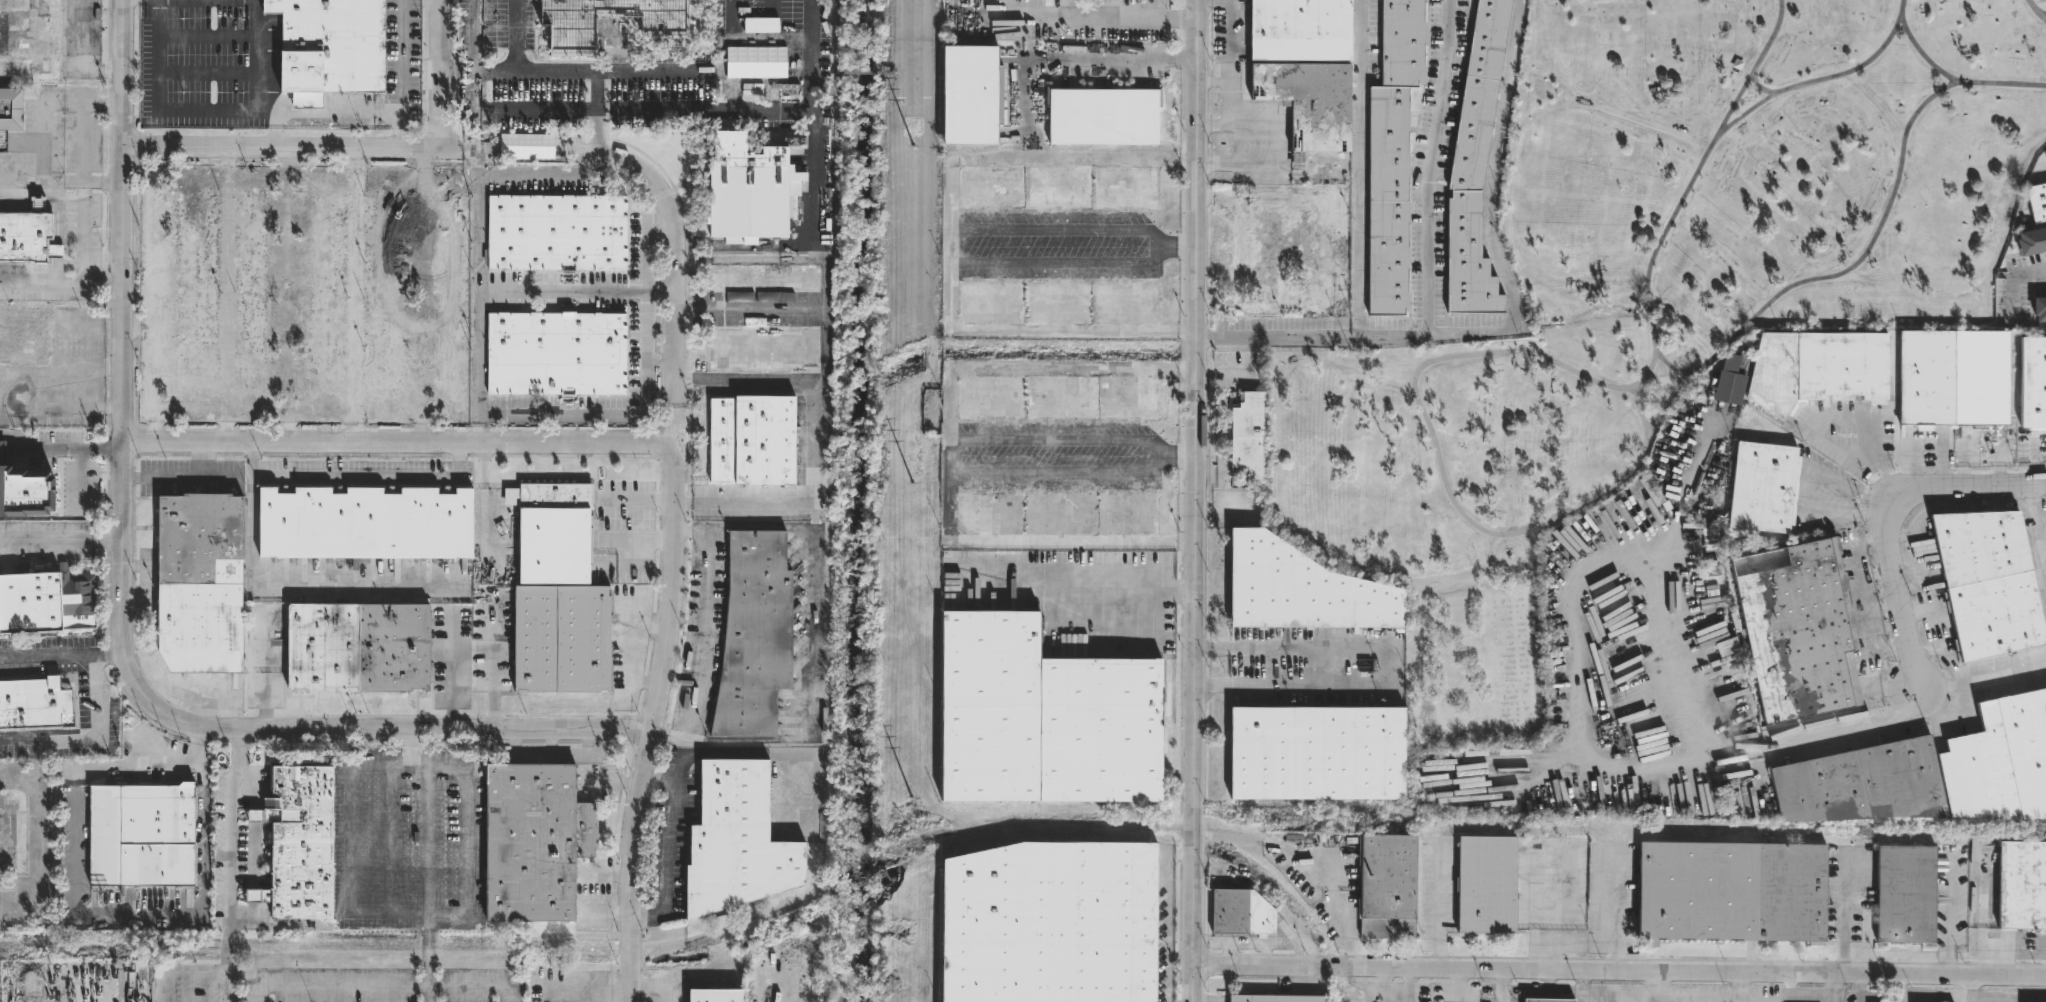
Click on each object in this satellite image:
road: (451, 8)
road: (1156, 8)
road: (2037, 10)
road: (2044, 16)
road: (1094, 17)
road: (1229, 24)
building: (1298, 30)
building: (571, 33)
road: (78, 35)
building: (22, 39)
building: (331, 48)
road: (1881, 48)
road: (773, 55)
road: (475, 56)
road: (1920, 56)
road: (402, 62)
road: (578, 62)
road: (895, 62)
road: (1546, 64)
parking lot: (197, 65)
road: (639, 70)
road: (819, 72)
road: (863, 72)
road: (441, 74)
road: (1851, 83)
road: (1959, 85)
road: (1756, 87)
road: (733, 90)
building: (970, 96)
road: (605, 99)
road: (1025, 101)
building: (1303, 104)
road: (171, 109)
road: (1602, 110)
road: (644, 111)
road: (913, 111)
building: (9, 112)
road: (340, 115)
road: (1744, 115)
building: (1103, 116)
road: (812, 123)
road: (1213, 124)
road: (1277, 125)
road: (81, 142)
power tower: (912, 148)
road: (294, 150)
road: (605, 150)
building: (1392, 155)
road: (478, 156)
road: (422, 157)
road: (226, 163)
road: (1429, 167)
road: (1358, 168)
building: (1471, 168)
road: (422, 169)
parking lot: (911, 172)
road: (395, 174)
road: (257, 176)
road: (322, 176)
building: (1057, 188)
building: (748, 189)
road: (1506, 194)
road: (663, 195)
road: (1309, 195)
road: (1213, 196)
building: (2037, 202)
road: (669, 205)
road: (478, 211)
road: (1674, 212)
road: (80, 231)
building: (557, 232)
building: (26, 235)
building: (2031, 242)
road: (686, 251)
road: (741, 259)
road: (952, 260)
building: (1292, 260)
road: (1241, 265)
road: (478, 266)
road: (153, 273)
road: (646, 273)
building: (763, 277)
road: (2033, 285)
road: (664, 287)
road: (566, 291)
park: (1650, 291)
parking lot: (555, 292)
building: (327, 293)
building: (197, 294)
building: (251, 294)
road: (225, 295)
road: (356, 295)
building: (384, 295)
building: (456, 295)
road: (286, 296)
road: (420, 299)
building: (1057, 301)
building: (471, 304)
road: (782, 307)
building: (2038, 310)
road: (1513, 323)
road: (908, 324)
road: (138, 329)
road: (1040, 332)
building: (26, 340)
road: (478, 348)
building: (764, 348)
road: (1719, 352)
building: (556, 353)
road: (1525, 355)
road: (650, 360)
road: (665, 360)
road: (1670, 366)
building: (1813, 369)
building: (1950, 378)
road: (1275, 380)
building: (2032, 384)
building: (1058, 397)
road: (188, 414)
road: (255, 414)
road: (321, 414)
road: (449, 416)
road: (394, 417)
road: (224, 428)
road: (668, 428)
road: (491, 430)
road: (419, 432)
road: (479, 433)
road: (814, 433)
building: (1245, 434)
road: (661, 438)
building: (752, 439)
road: (1058, 439)
road: (388, 442)
road: (59, 448)
road: (951, 454)
road: (1868, 460)
road: (1076, 470)
road: (355, 475)
road: (186, 484)
power tower: (911, 484)
building: (1761, 486)
road: (1803, 488)
building: (24, 490)
road: (639, 496)
road: (485, 497)
road: (1194, 500)
road: (684, 504)
road: (1890, 509)
road: (1938, 509)
road: (2005, 509)
road: (2039, 509)
building: (1056, 512)
road: (1897, 522)
building: (362, 523)
building: (551, 532)
road: (60, 538)
road: (639, 540)
road: (2039, 540)
road: (1918, 551)
road: (305, 580)
road: (683, 581)
building: (1985, 581)
building: (195, 582)
road: (1069, 589)
building: (1300, 589)
road: (1924, 589)
road: (1183, 590)
building: (42, 600)
road: (121, 610)
road: (1147, 618)
building: (1796, 628)
road: (704, 632)
road: (1933, 632)
building: (753, 635)
building: (559, 639)
road: (812, 645)
building: (354, 647)
road: (1211, 648)
road: (109, 649)
road: (48, 653)
road: (472, 653)
road: (1951, 663)
road: (1390, 666)
road: (1983, 671)
road: (1211, 685)
road: (1581, 698)
building: (35, 703)
road: (655, 717)
building: (1042, 718)
road: (91, 739)
road: (1466, 739)
road: (410, 747)
road: (685, 753)
building: (1316, 753)
building: (1929, 773)
road: (661, 778)
power tower: (909, 798)
building: (1422, 801)
railway: (1620, 828)
building: (137, 837)
road: (391, 838)
building: (534, 841)
building: (734, 841)
building: (300, 843)
road: (1317, 852)
road: (1183, 856)
road: (229, 864)
building: (1483, 884)
building: (2021, 885)
building: (1387, 886)
building: (1728, 891)
building: (1903, 894)
road: (74, 896)
road: (466, 897)
road: (1614, 904)
road: (1439, 906)
road: (1845, 907)
building: (1241, 914)
road: (1958, 915)
building: (1049, 923)
railway: (723, 928)
road: (1167, 928)
road: (427, 968)
road: (1619, 969)
road: (196, 972)
road: (380, 981)
road: (654, 984)
road: (759, 984)
road: (1510, 986)
road: (1858, 986)
road: (1931, 995)
building: (712, 996)
building: (1269, 998)
building: (1545, 1000)

